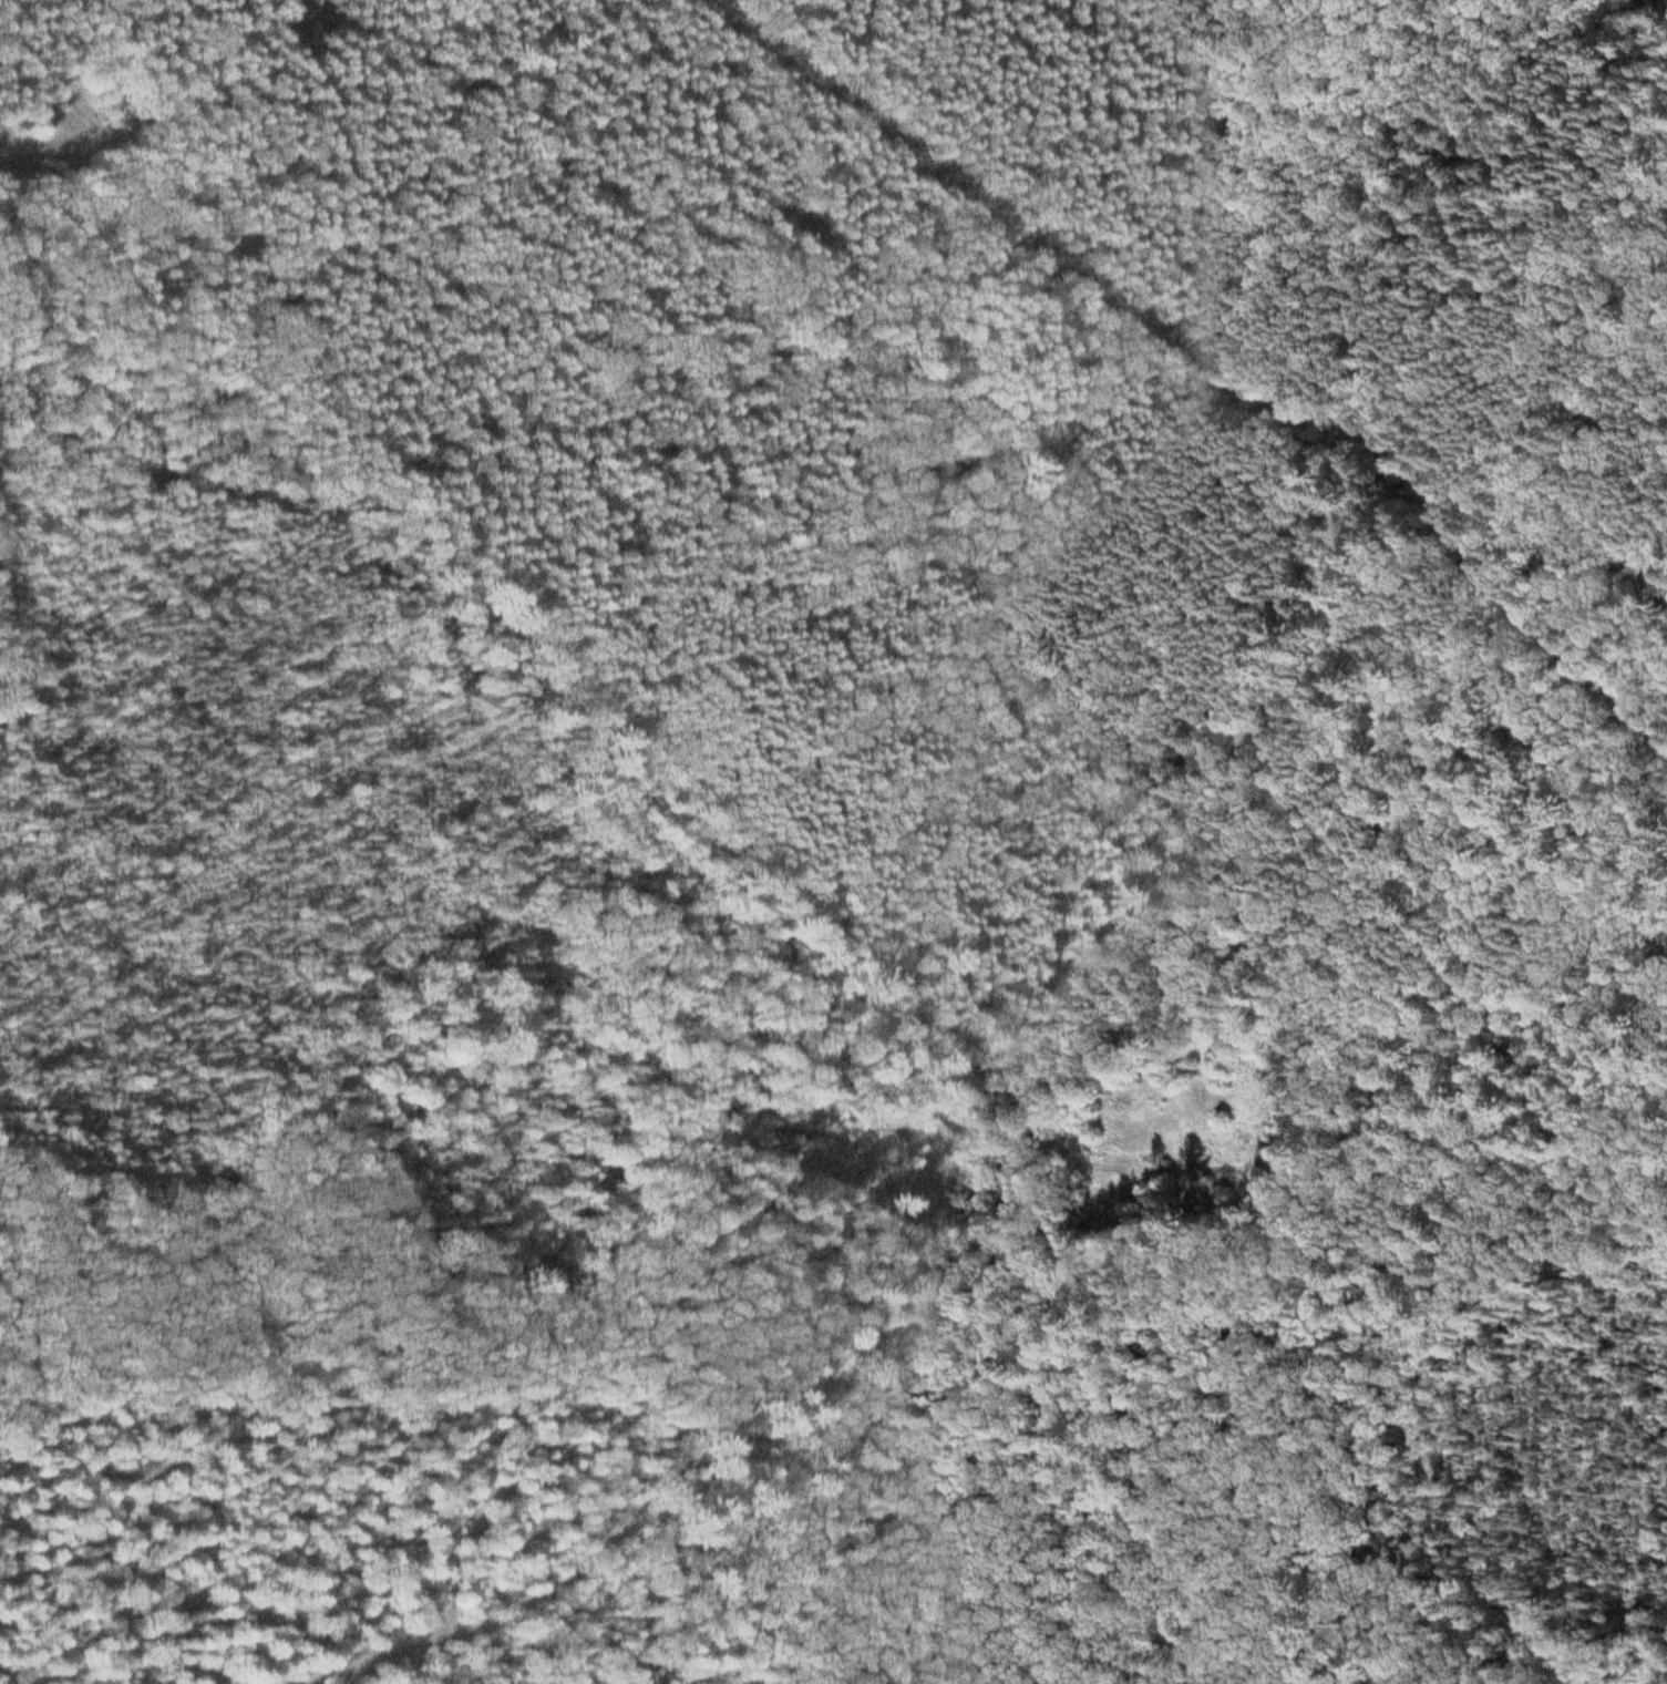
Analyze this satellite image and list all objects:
road: (791, 935)
road: (381, 1660)
road: (459, 1660)

